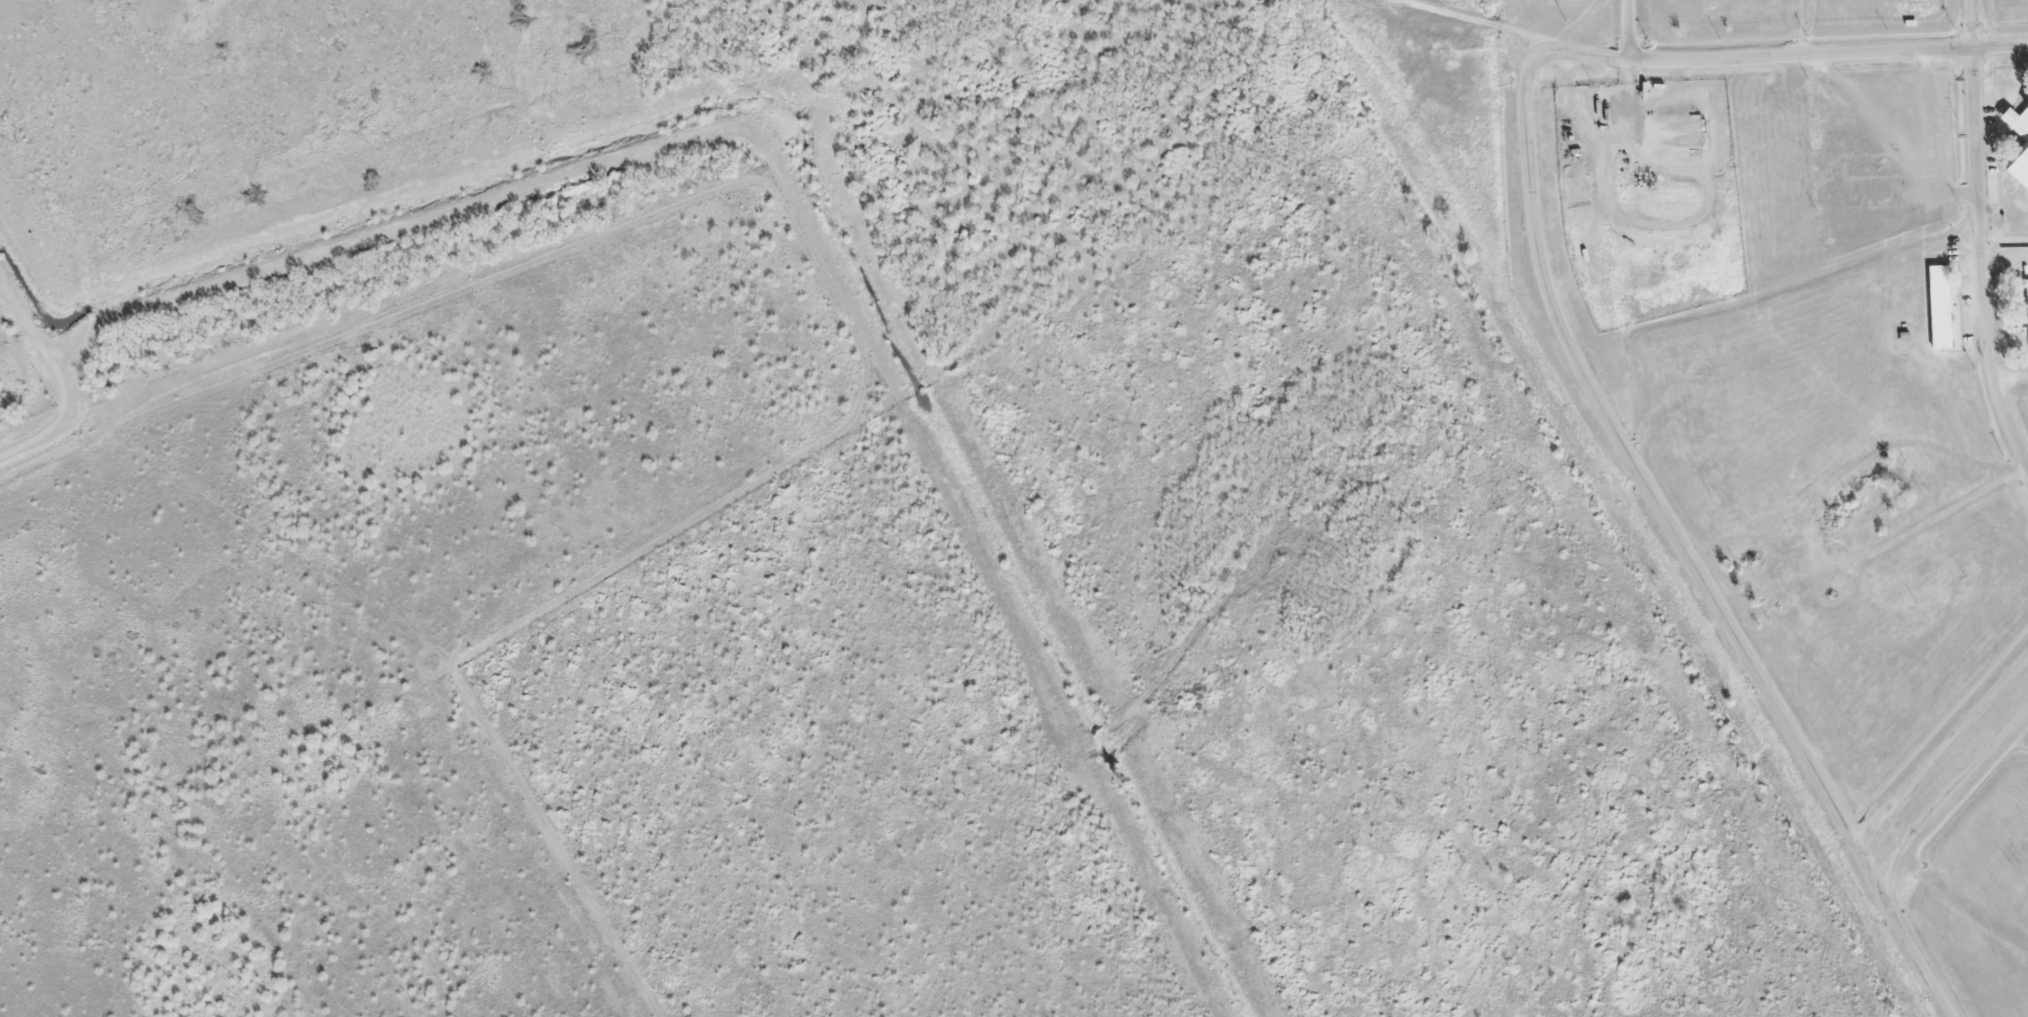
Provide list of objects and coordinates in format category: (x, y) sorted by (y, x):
road: (1488, 24)
road: (1630, 30)
road: (1792, 55)
building: (2020, 155)
road: (786, 176)
road: (1981, 237)
building: (2026, 296)
building: (1939, 307)
road: (1951, 509)
road: (1680, 541)
road: (1940, 747)
road: (1949, 795)

